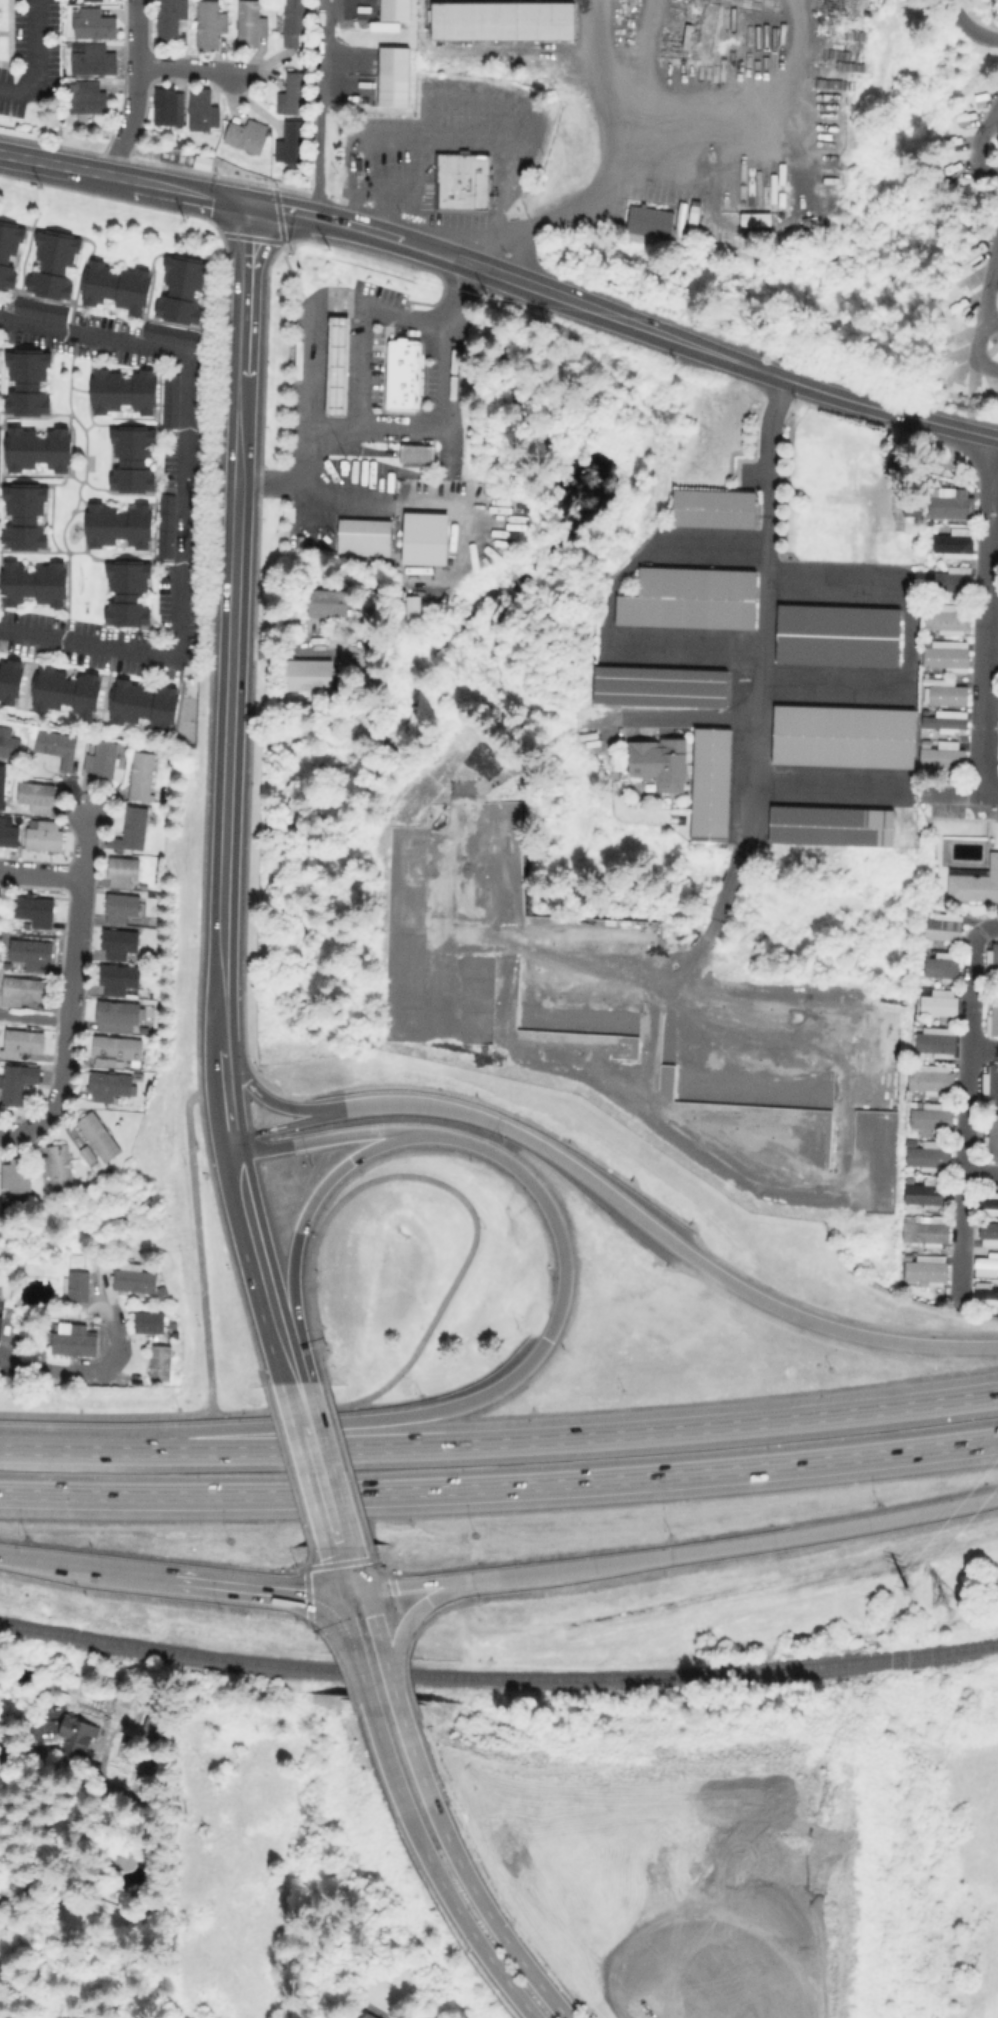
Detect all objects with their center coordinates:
building: (92, 0)
building: (393, 9)
building: (170, 19)
building: (294, 22)
building: (96, 23)
building: (210, 23)
building: (251, 23)
building: (504, 24)
building: (382, 25)
road: (967, 26)
road: (599, 48)
building: (300, 54)
parking lot: (31, 55)
road: (34, 59)
building: (95, 59)
road: (192, 67)
building: (392, 75)
road: (136, 90)
road: (452, 91)
building: (295, 93)
building: (88, 99)
building: (167, 104)
road: (321, 108)
building: (202, 110)
road: (747, 115)
road: (994, 120)
road: (609, 134)
building: (247, 135)
building: (292, 141)
building: (997, 141)
road: (976, 145)
road: (782, 158)
building: (201, 162)
building: (356, 163)
road: (123, 178)
building: (461, 180)
road: (394, 197)
traffic signals: (248, 201)
road: (537, 218)
building: (691, 218)
building: (647, 219)
building: (678, 219)
road: (355, 226)
road: (234, 236)
road: (28, 242)
building: (10, 253)
building: (55, 264)
road: (995, 270)
building: (114, 286)
building: (180, 290)
road: (211, 294)
building: (47, 311)
road: (985, 311)
road: (991, 319)
road: (623, 320)
road: (310, 325)
building: (169, 334)
road: (243, 342)
building: (335, 365)
gas station: (335, 365)
road: (449, 368)
building: (400, 373)
building: (29, 382)
building: (122, 391)
building: (169, 400)
road: (891, 412)
road: (379, 428)
building: (39, 450)
building: (0, 451)
building: (415, 455)
building: (130, 459)
building: (806, 469)
road: (273, 483)
building: (930, 490)
road: (184, 499)
building: (165, 502)
building: (949, 505)
road: (343, 506)
building: (711, 508)
building: (27, 517)
road: (463, 518)
building: (119, 527)
building: (164, 534)
building: (364, 538)
building: (423, 538)
building: (950, 542)
building: (946, 580)
building: (36, 585)
building: (130, 595)
building: (688, 598)
building: (409, 601)
building: (328, 604)
road: (607, 608)
building: (945, 620)
road: (986, 625)
building: (835, 635)
building: (943, 655)
building: (309, 676)
building: (923, 680)
building: (12, 683)
building: (658, 686)
building: (68, 693)
building: (945, 696)
building: (997, 701)
building: (144, 706)
road: (688, 718)
building: (941, 722)
building: (841, 736)
building: (922, 743)
building: (9, 744)
building: (54, 750)
building: (941, 760)
road: (227, 761)
building: (657, 764)
building: (91, 765)
building: (142, 777)
building: (708, 784)
building: (3, 787)
building: (41, 810)
building: (829, 825)
building: (132, 831)
building: (9, 836)
building: (46, 838)
road: (732, 867)
road: (40, 873)
building: (123, 873)
building: (975, 883)
building: (122, 908)
building: (36, 912)
building: (941, 929)
building: (119, 944)
building: (32, 954)
building: (994, 959)
building: (939, 967)
building: (120, 980)
road: (70, 990)
building: (23, 992)
building: (936, 1006)
road: (33, 1017)
building: (118, 1017)
building: (992, 1018)
building: (934, 1041)
building: (23, 1045)
road: (983, 1050)
building: (117, 1053)
road: (223, 1063)
building: (930, 1078)
building: (19, 1085)
building: (992, 1085)
building: (110, 1087)
road: (263, 1098)
road: (966, 1108)
road: (228, 1112)
building: (928, 1116)
road: (283, 1125)
building: (100, 1138)
road: (334, 1138)
building: (992, 1138)
building: (927, 1155)
building: (89, 1156)
building: (58, 1168)
road: (981, 1174)
building: (18, 1177)
building: (924, 1195)
building: (987, 1204)
road: (475, 1228)
building: (927, 1233)
building: (987, 1233)
road: (660, 1234)
road: (197, 1236)
road: (261, 1259)
building: (985, 1265)
building: (925, 1269)
building: (136, 1283)
building: (79, 1288)
building: (985, 1294)
road: (559, 1302)
building: (150, 1324)
building: (1, 1326)
building: (177, 1337)
building: (76, 1344)
building: (19, 1348)
building: (161, 1366)
road: (85, 1372)
road: (106, 1417)
road: (500, 1443)
road: (318, 1471)
road: (500, 1487)
road: (676, 1555)
road: (86, 1567)
road: (347, 1578)
power tower: (907, 1587)
road: (261, 1589)
traffic signals: (351, 1592)
power tower: (941, 1599)
road: (422, 1606)
road: (373, 1618)
road: (346, 1623)
road: (386, 1664)
road: (393, 1665)
road: (362, 1679)
railway: (498, 1679)
road: (393, 1689)
building: (147, 1722)
building: (78, 1742)
road: (434, 1870)
road: (463, 1870)
building: (368, 2015)

